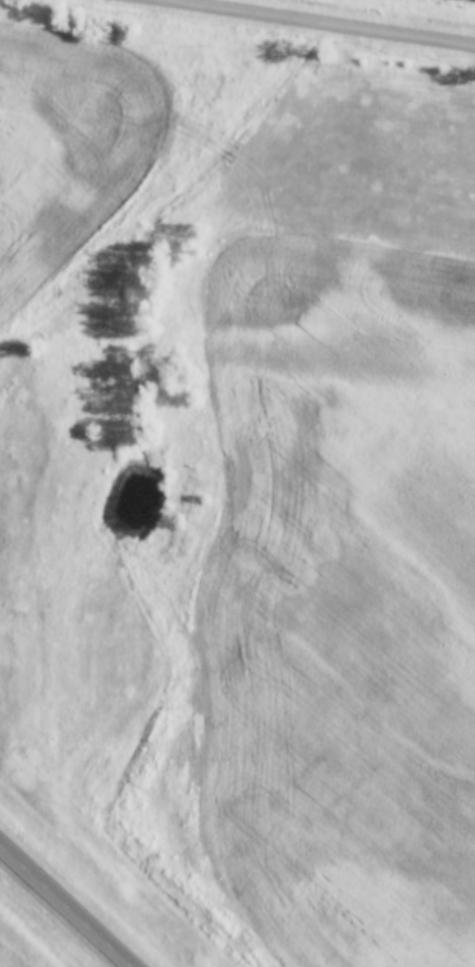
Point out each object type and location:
road: (309, 24)
road: (67, 904)

